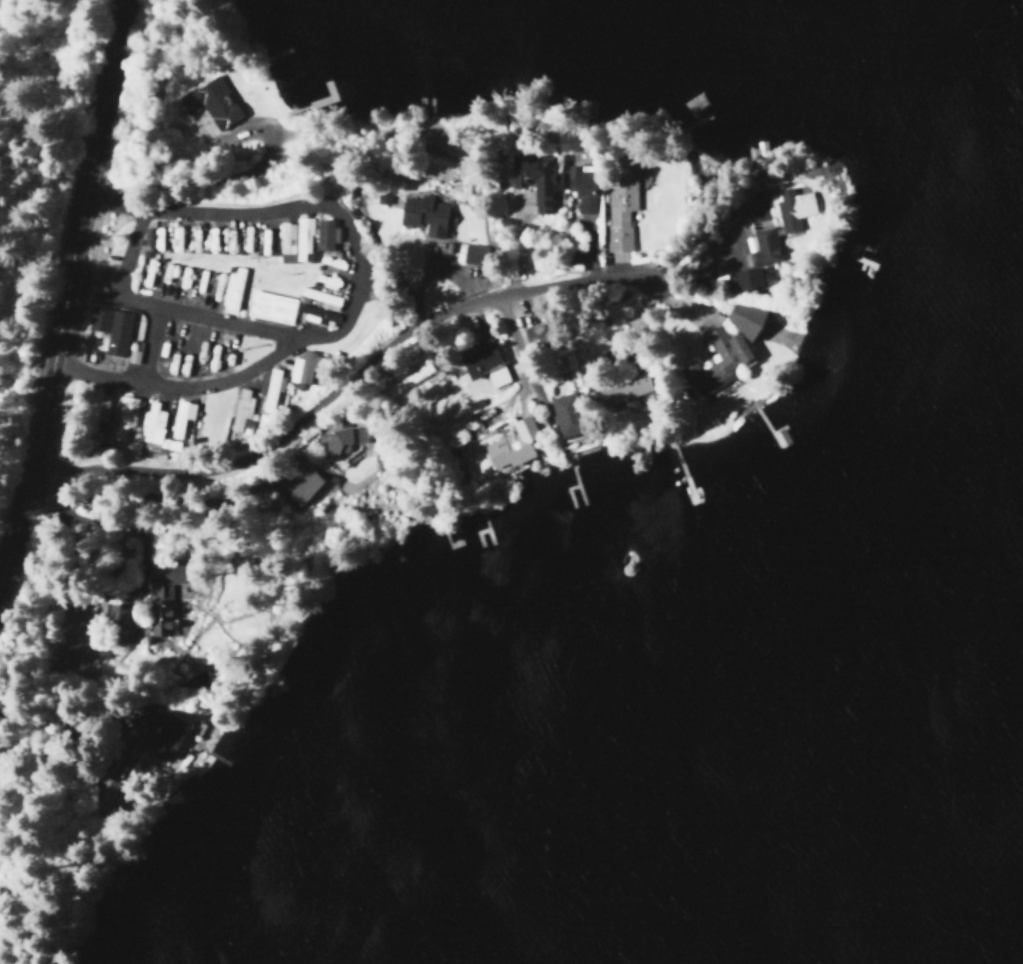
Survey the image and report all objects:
building: (209, 103)
building: (755, 151)
building: (533, 177)
building: (581, 186)
building: (791, 208)
building: (619, 211)
building: (422, 214)
building: (324, 234)
building: (146, 236)
building: (301, 239)
building: (285, 241)
building: (761, 245)
building: (471, 253)
building: (746, 277)
building: (231, 288)
road: (355, 293)
building: (321, 298)
road: (66, 304)
building: (269, 306)
road: (187, 315)
building: (743, 317)
building: (109, 327)
road: (523, 338)
building: (477, 357)
building: (715, 362)
road: (373, 363)
building: (302, 367)
building: (409, 375)
building: (495, 376)
building: (269, 389)
building: (623, 391)
building: (240, 407)
building: (95, 408)
building: (564, 413)
building: (179, 416)
building: (122, 417)
building: (151, 425)
building: (342, 439)
building: (511, 444)
building: (302, 486)
building: (160, 598)
building: (117, 625)
building: (161, 730)
building: (103, 792)

